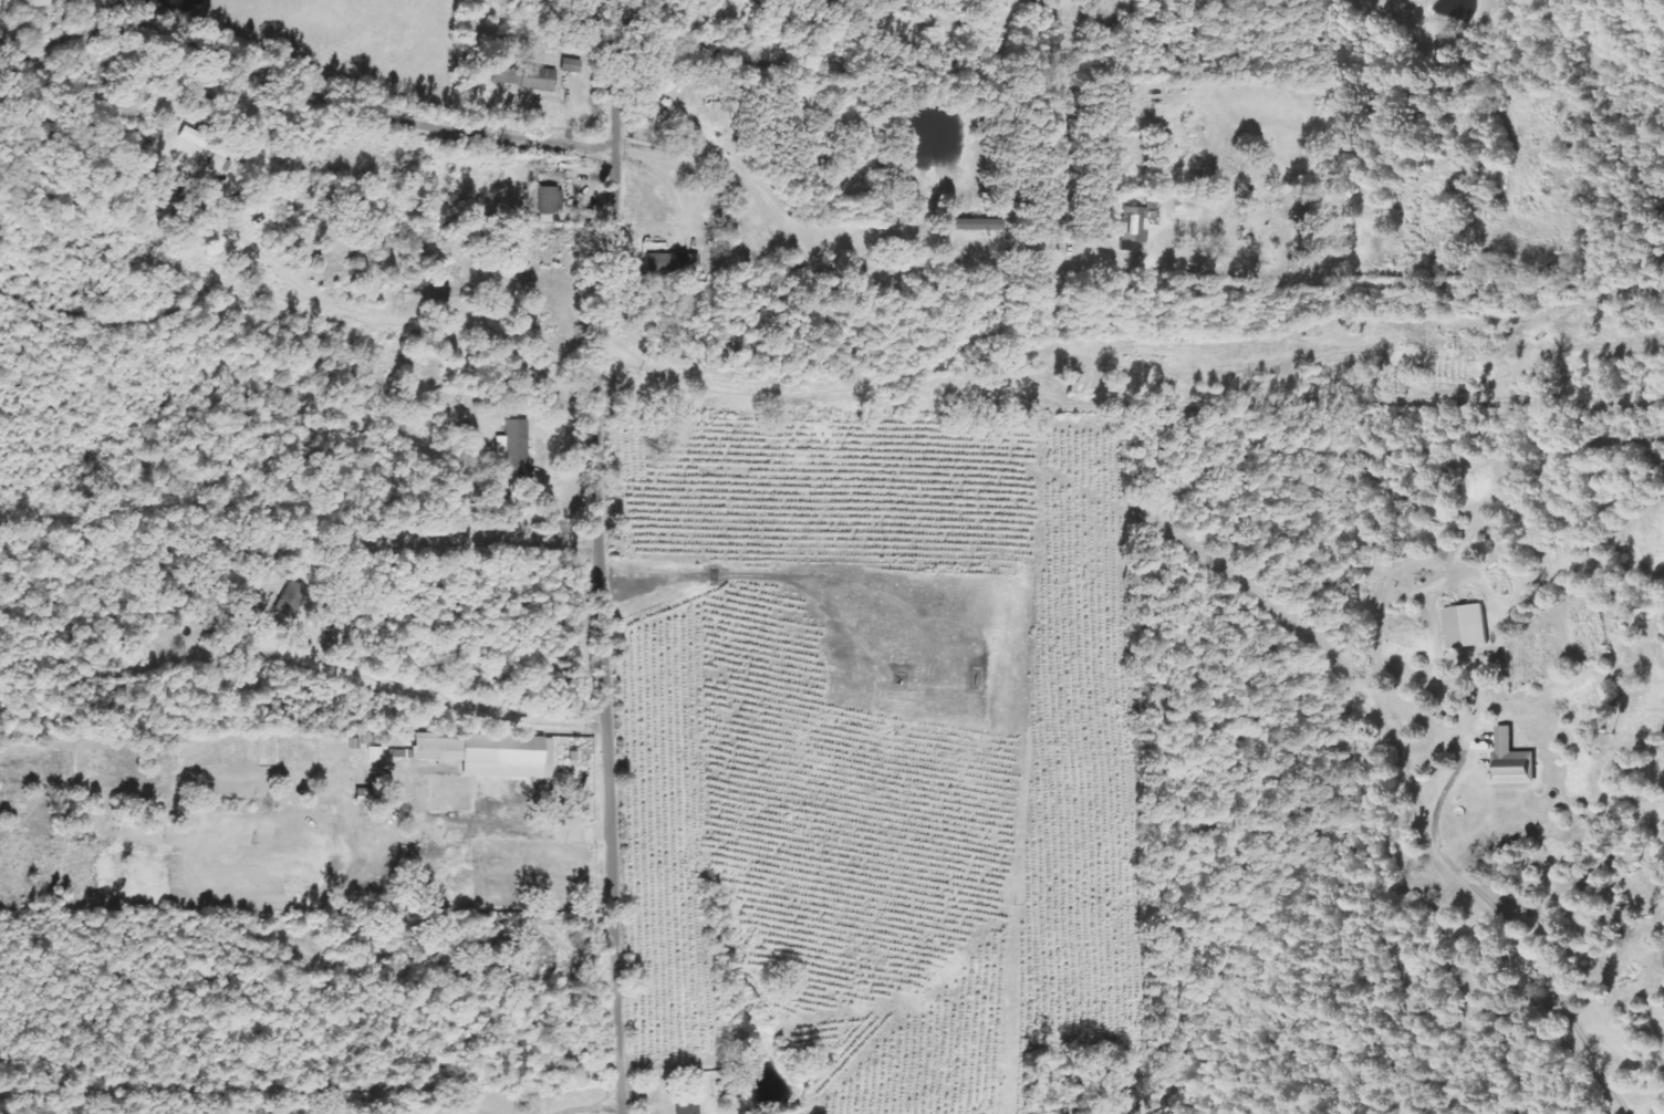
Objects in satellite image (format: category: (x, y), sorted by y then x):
building: (533, 79)
road: (308, 84)
building: (205, 148)
building: (547, 195)
road: (1141, 197)
building: (975, 225)
building: (1132, 225)
building: (669, 263)
building: (512, 446)
road: (613, 556)
building: (290, 600)
building: (1466, 626)
building: (485, 754)
building: (1512, 760)
building: (532, 959)
building: (552, 959)
road: (590, 1106)
building: (685, 1107)
road: (522, 1113)
road: (554, 1113)

